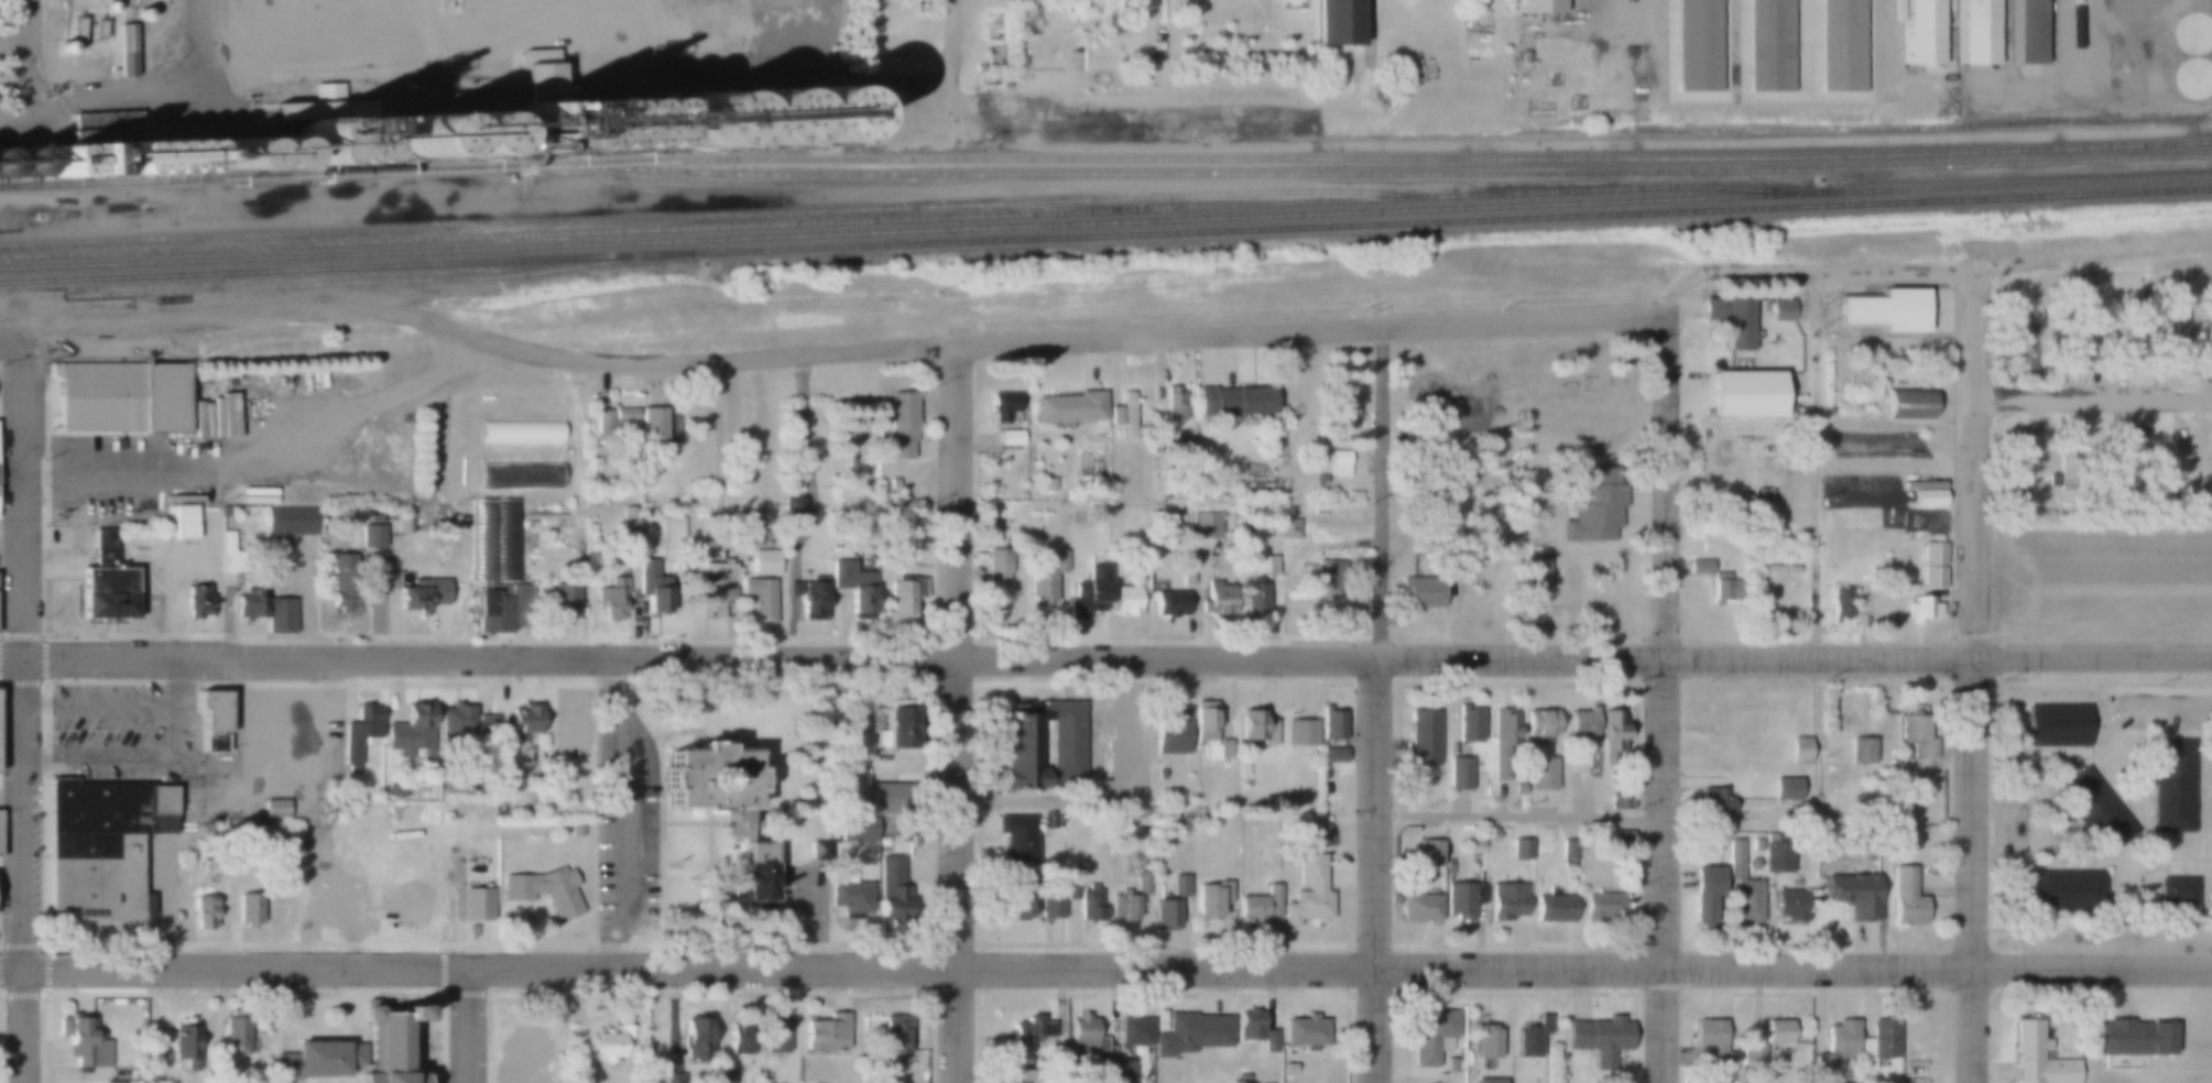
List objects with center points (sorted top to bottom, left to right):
building: (999, 0)
building: (108, 7)
silo: (108, 7)
building: (1537, 7)
building: (138, 15)
silo: (138, 15)
building: (1334, 23)
building: (1926, 32)
building: (1980, 32)
building: (2029, 32)
road: (954, 37)
road: (581, 42)
building: (1696, 45)
building: (1767, 45)
building: (1839, 45)
building: (59, 47)
silo: (59, 47)
road: (196, 47)
building: (861, 48)
road: (26, 51)
building: (123, 51)
building: (549, 56)
building: (532, 77)
road: (98, 99)
building: (318, 107)
building: (813, 114)
silo: (813, 114)
building: (758, 117)
silo: (758, 117)
building: (701, 118)
silo: (701, 118)
building: (600, 125)
silo: (600, 125)
building: (534, 127)
building: (464, 135)
silo: (464, 135)
building: (421, 136)
silo: (421, 136)
building: (330, 143)
silo: (330, 143)
building: (261, 154)
silo: (261, 154)
building: (51, 155)
silo: (51, 155)
building: (229, 155)
silo: (229, 155)
building: (364, 155)
silo: (364, 155)
building: (152, 158)
silo: (152, 158)
building: (84, 162)
building: (20, 164)
silo: (20, 164)
building: (0, 165)
silo: (0, 165)
railway: (1105, 166)
building: (51, 172)
silo: (51, 172)
railway: (1318, 175)
railway: (727, 216)
railway: (915, 220)
railway: (1105, 221)
railway: (1105, 237)
road: (1930, 272)
railway: (374, 281)
railway: (14, 303)
building: (2016, 309)
building: (1779, 310)
building: (1884, 311)
building: (1728, 318)
building: (2080, 325)
road: (1309, 330)
building: (2132, 331)
road: (2, 332)
road: (477, 338)
building: (2179, 339)
building: (2031, 340)
road: (1972, 341)
building: (2211, 346)
building: (2082, 350)
building: (1742, 394)
building: (120, 397)
road: (2092, 400)
building: (1231, 402)
building: (1002, 405)
building: (1908, 405)
building: (1067, 408)
building: (1173, 408)
road: (359, 409)
building: (1341, 412)
building: (1123, 415)
building: (601, 422)
building: (623, 422)
building: (898, 425)
building: (520, 433)
building: (1009, 438)
building: (1617, 439)
building: (2015, 460)
building: (2209, 460)
building: (2066, 462)
building: (2113, 462)
building: (1337, 464)
road: (1817, 464)
road: (1366, 470)
building: (520, 474)
building: (1321, 479)
building: (893, 482)
road: (132, 485)
building: (1047, 485)
building: (795, 486)
building: (2030, 492)
road: (1383, 493)
building: (1021, 494)
building: (1927, 497)
building: (1592, 502)
building: (794, 508)
building: (629, 516)
building: (291, 519)
building: (182, 521)
building: (990, 525)
building: (1205, 525)
building: (1287, 528)
road: (1447, 530)
building: (371, 539)
building: (484, 540)
building: (508, 540)
building: (226, 546)
building: (1035, 547)
building: (763, 562)
building: (996, 565)
building: (1270, 565)
building: (1932, 566)
building: (1698, 567)
building: (1534, 572)
building: (1045, 579)
building: (1325, 579)
building: (341, 581)
building: (103, 582)
building: (1141, 584)
building: (717, 587)
building: (852, 587)
building: (651, 588)
building: (1723, 588)
building: (1421, 591)
building: (1088, 592)
building: (421, 594)
building: (905, 595)
building: (1217, 595)
building: (1254, 597)
building: (611, 599)
building: (807, 599)
building: (1123, 600)
building: (564, 601)
building: (195, 602)
building: (759, 602)
building: (1840, 603)
building: (248, 604)
building: (1167, 604)
building: (501, 606)
building: (1921, 610)
road: (1449, 613)
building: (279, 615)
road: (1105, 659)
road: (1663, 700)
road: (1817, 701)
road: (23, 704)
road: (2166, 705)
road: (959, 713)
building: (456, 720)
building: (215, 721)
building: (520, 721)
parking lot: (121, 723)
building: (1538, 723)
building: (1468, 724)
building: (1854, 724)
building: (1330, 725)
building: (1503, 725)
building: (1581, 725)
building: (1610, 728)
building: (2055, 728)
building: (1255, 729)
building: (410, 730)
building: (894, 730)
building: (360, 731)
building: (1172, 733)
building: (1209, 733)
building: (1299, 733)
building: (563, 735)
building: (1918, 735)
building: (1420, 740)
road: (1971, 741)
building: (1015, 745)
building: (1798, 750)
building: (1860, 751)
building: (1331, 755)
building: (1500, 766)
building: (1459, 773)
building: (1539, 774)
building: (499, 775)
building: (316, 778)
building: (715, 781)
building: (2169, 785)
building: (1517, 788)
building: (395, 790)
building: (1785, 791)
building: (881, 796)
building: (1617, 801)
building: (1710, 802)
building: (275, 809)
building: (2091, 812)
road: (1518, 813)
building: (856, 828)
building: (575, 831)
building: (1491, 834)
building: (1016, 836)
building: (1619, 838)
building: (102, 845)
building: (1521, 849)
building: (1568, 851)
building: (1428, 852)
building: (0, 855)
building: (1776, 857)
building: (1752, 863)
building: (1568, 865)
building: (1072, 871)
road: (1374, 871)
building: (761, 872)
building: (1143, 884)
building: (1179, 886)
building: (887, 887)
building: (1742, 887)
building: (1070, 889)
building: (2175, 889)
building: (546, 890)
building: (2059, 890)
building: (1306, 894)
building: (1850, 894)
building: (1702, 896)
building: (1904, 896)
building: (847, 897)
building: (1016, 897)
building: (475, 898)
building: (1460, 899)
building: (1505, 900)
building: (1089, 904)
building: (1211, 904)
building: (1790, 905)
building: (1122, 906)
building: (206, 907)
building: (1051, 907)
building: (1602, 907)
building: (415, 908)
building: (1257, 908)
building: (1418, 908)
building: (1552, 908)
building: (248, 910)
building: (1163, 915)
road: (1105, 966)
road: (471, 1025)
building: (774, 1028)
building: (1132, 1029)
building: (1776, 1029)
building: (1254, 1030)
building: (1029, 1031)
building: (892, 1033)
building: (1304, 1033)
building: (235, 1035)
building: (1188, 1035)
building: (1431, 1035)
building: (826, 1036)
building: (1599, 1036)
building: (738, 1038)
building: (1882, 1038)
building: (2129, 1038)
building: (693, 1039)
building: (1082, 1040)
building: (1486, 1040)
building: (1533, 1040)
building: (83, 1042)
building: (611, 1043)
building: (1709, 1044)
building: (184, 1046)
building: (1834, 1047)
building: (359, 1052)
building: (1752, 1054)
building: (2036, 1057)
building: (1287, 1069)
building: (137, 1070)
building: (151, 1071)
building: (1120, 1071)
building: (724, 1073)
building: (1023, 1074)
building: (674, 1079)
building: (1488, 1081)
building: (1011, 1082)

